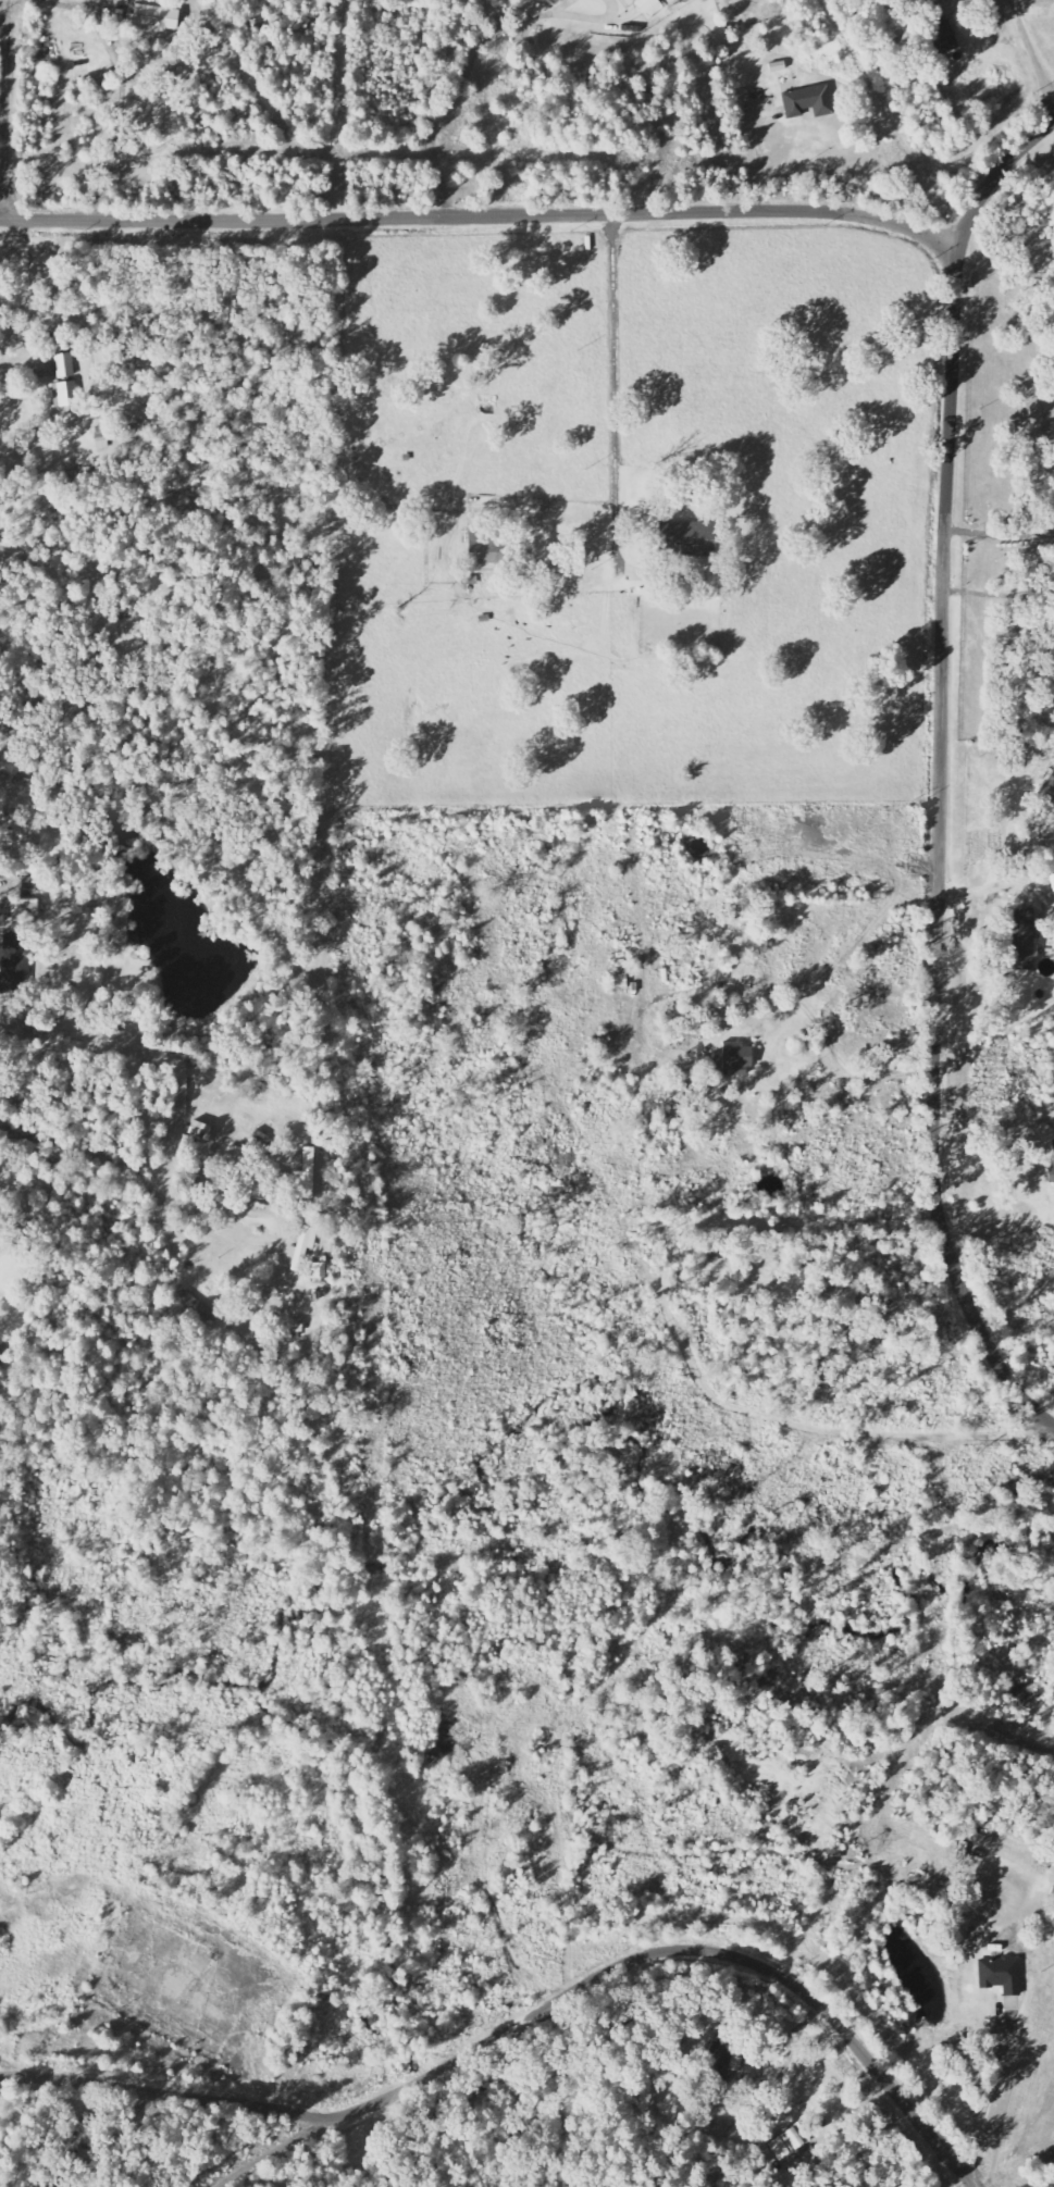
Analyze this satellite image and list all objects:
building: (630, 0)
building: (649, 8)
building: (157, 18)
building: (941, 38)
road: (1032, 54)
building: (808, 102)
road: (7, 109)
road: (485, 215)
building: (64, 366)
building: (64, 395)
building: (687, 539)
building: (487, 548)
road: (940, 770)
building: (1049, 790)
building: (1024, 940)
building: (11, 941)
building: (12, 976)
building: (618, 983)
road: (860, 1077)
building: (199, 1130)
road: (139, 1175)
building: (306, 1175)
building: (1051, 1176)
building: (301, 1247)
building: (318, 1270)
building: (835, 1296)
building: (836, 1325)
building: (1000, 1976)
road: (530, 2011)
building: (718, 2053)
road: (990, 2099)
building: (789, 2141)
road: (948, 2175)

